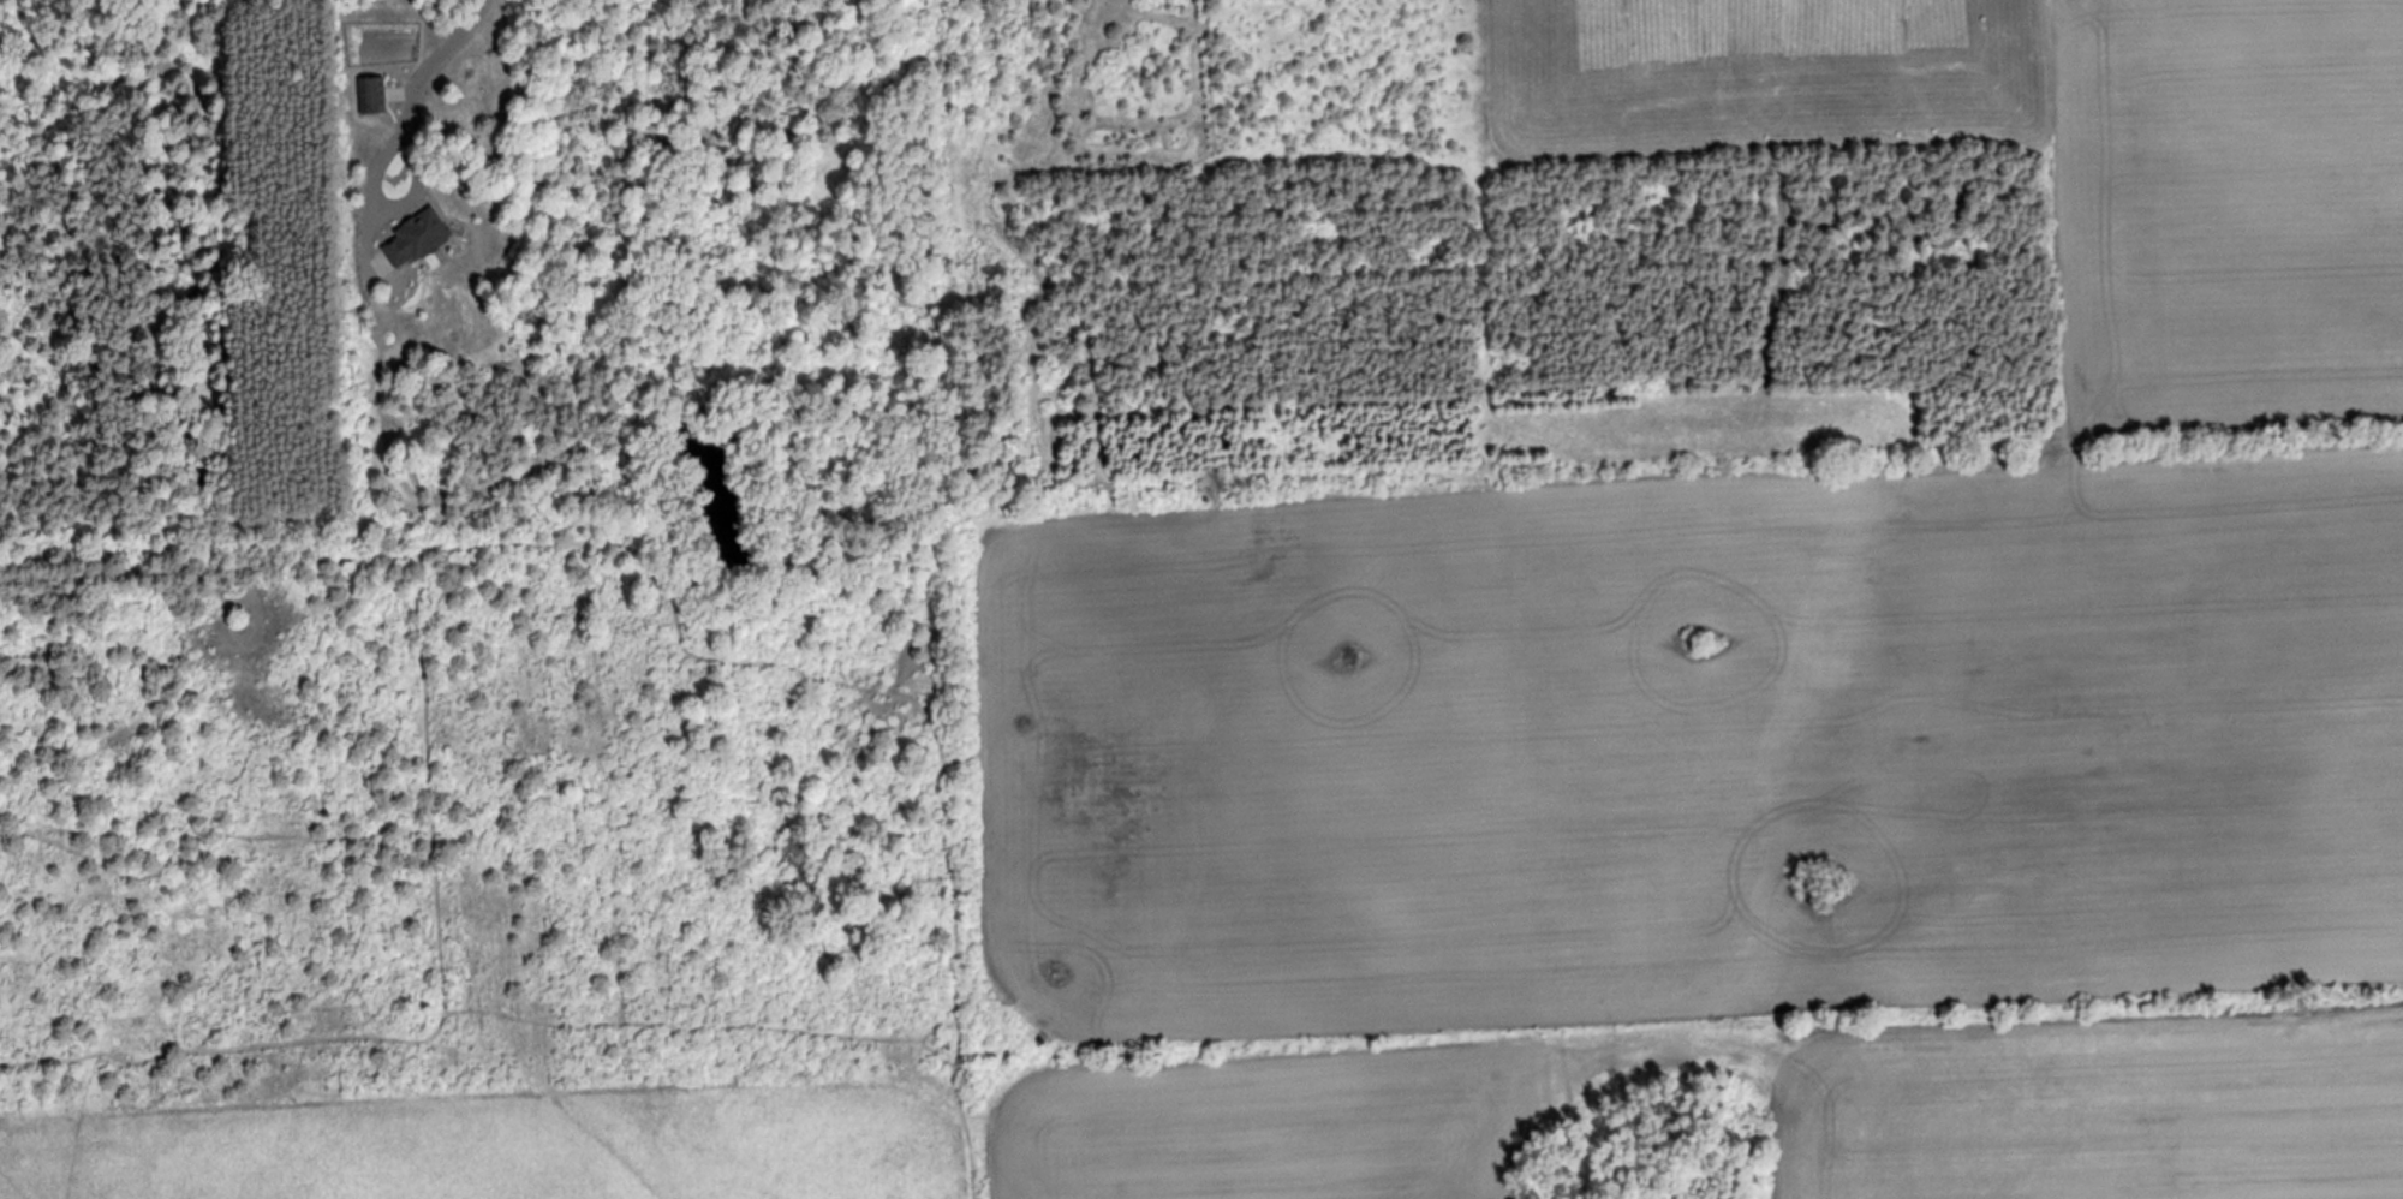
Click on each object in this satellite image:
building: (372, 96)
building: (416, 239)

